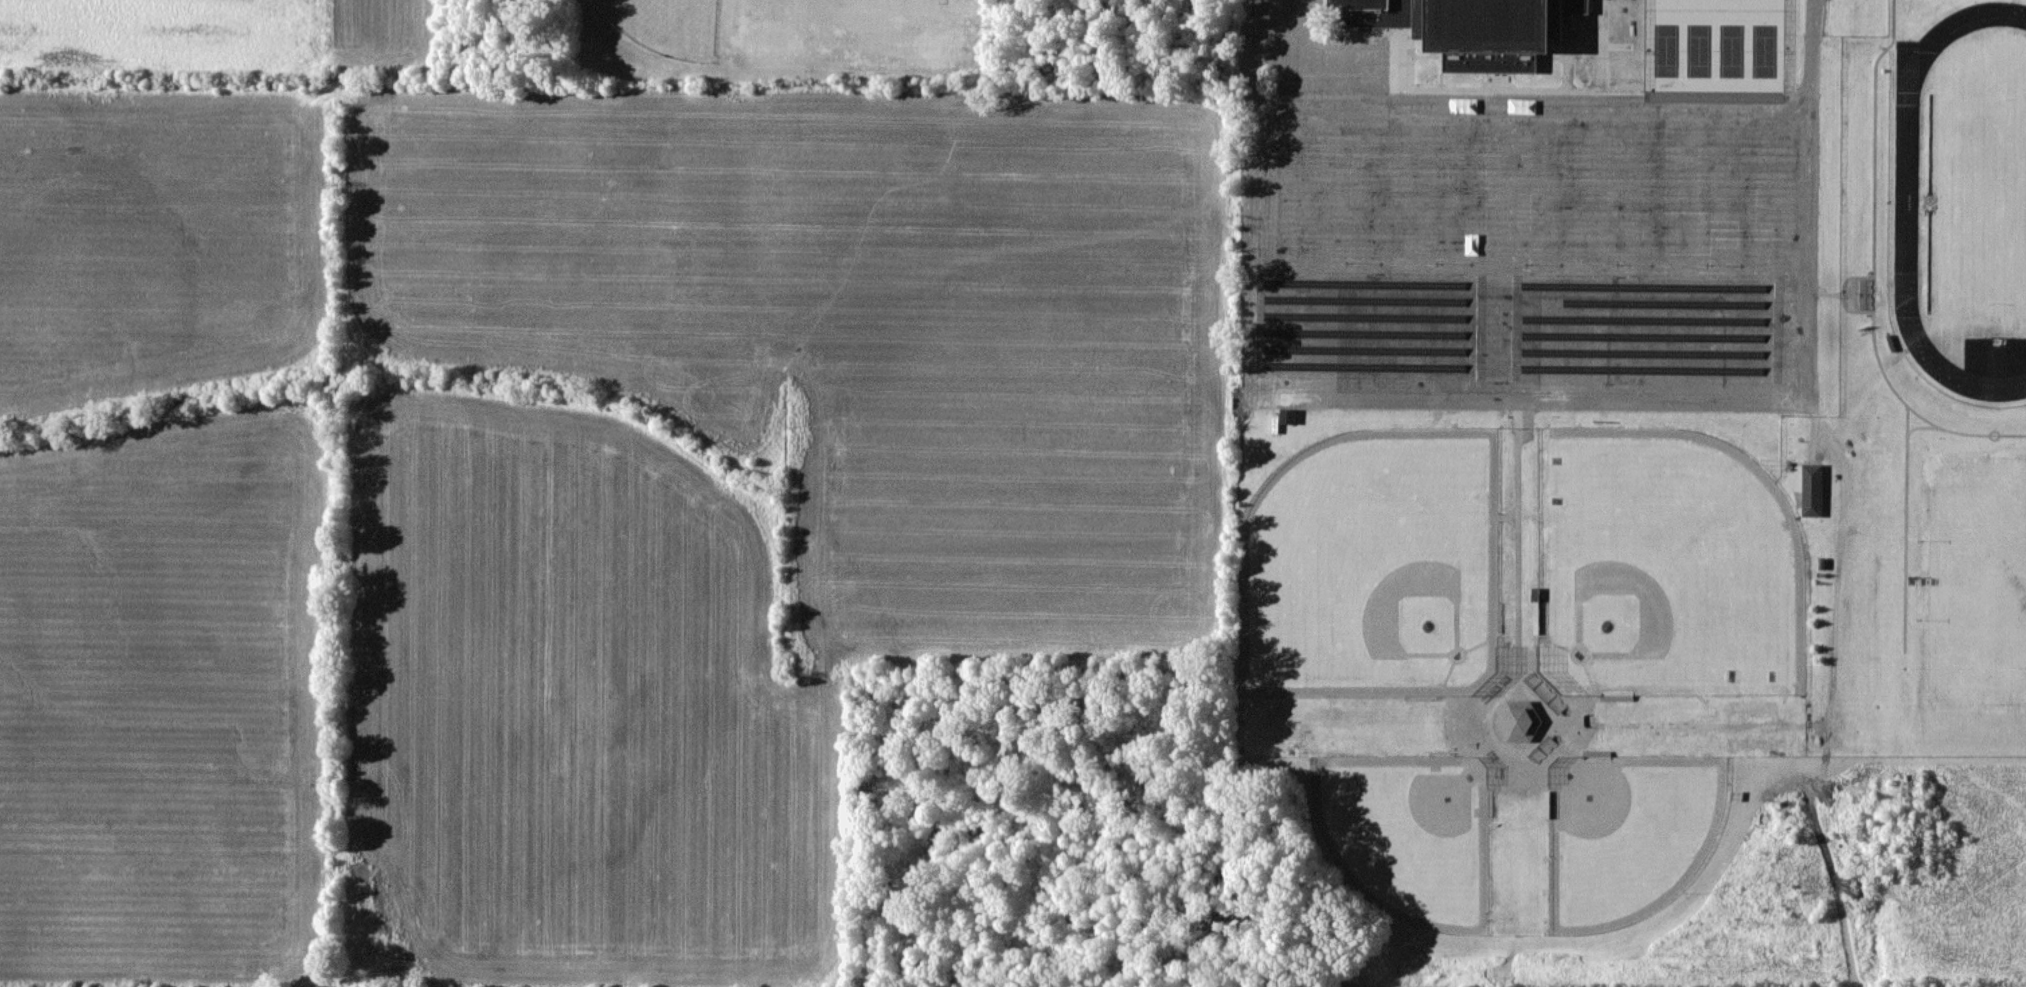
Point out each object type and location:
park: (1716, 4)
park: (665, 25)
building: (1469, 28)
park: (1716, 48)
road: (1535, 99)
track: (1907, 200)
road: (1875, 266)
solar farm: (1366, 325)
solar farm: (1643, 327)
road: (1537, 400)
building: (1288, 415)
road: (1924, 426)
building: (1812, 489)
road: (1906, 529)
park: (1667, 566)
park: (1373, 567)
park: (1976, 578)
park: (1410, 832)
park: (1627, 832)

